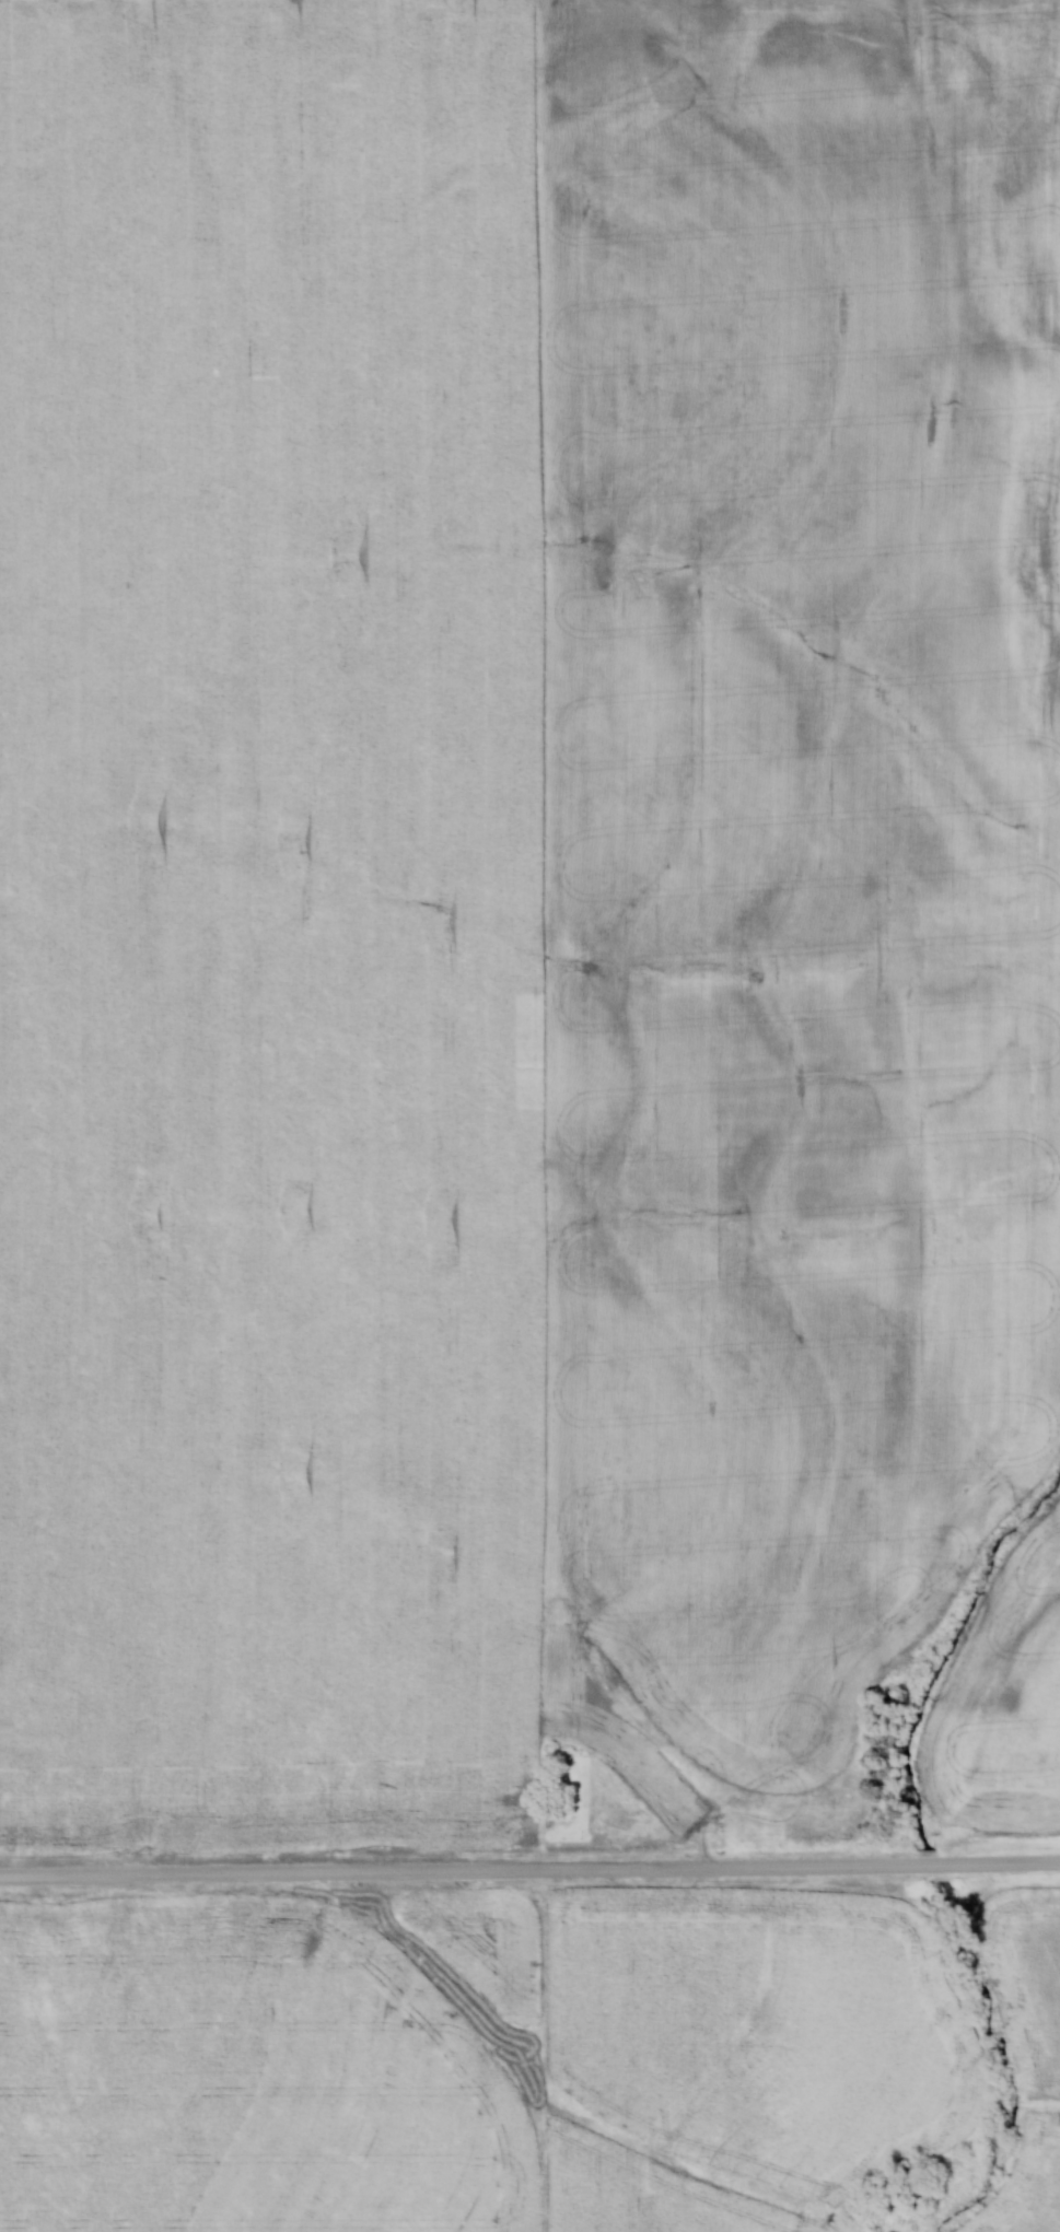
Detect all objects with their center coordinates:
road: (529, 1873)

